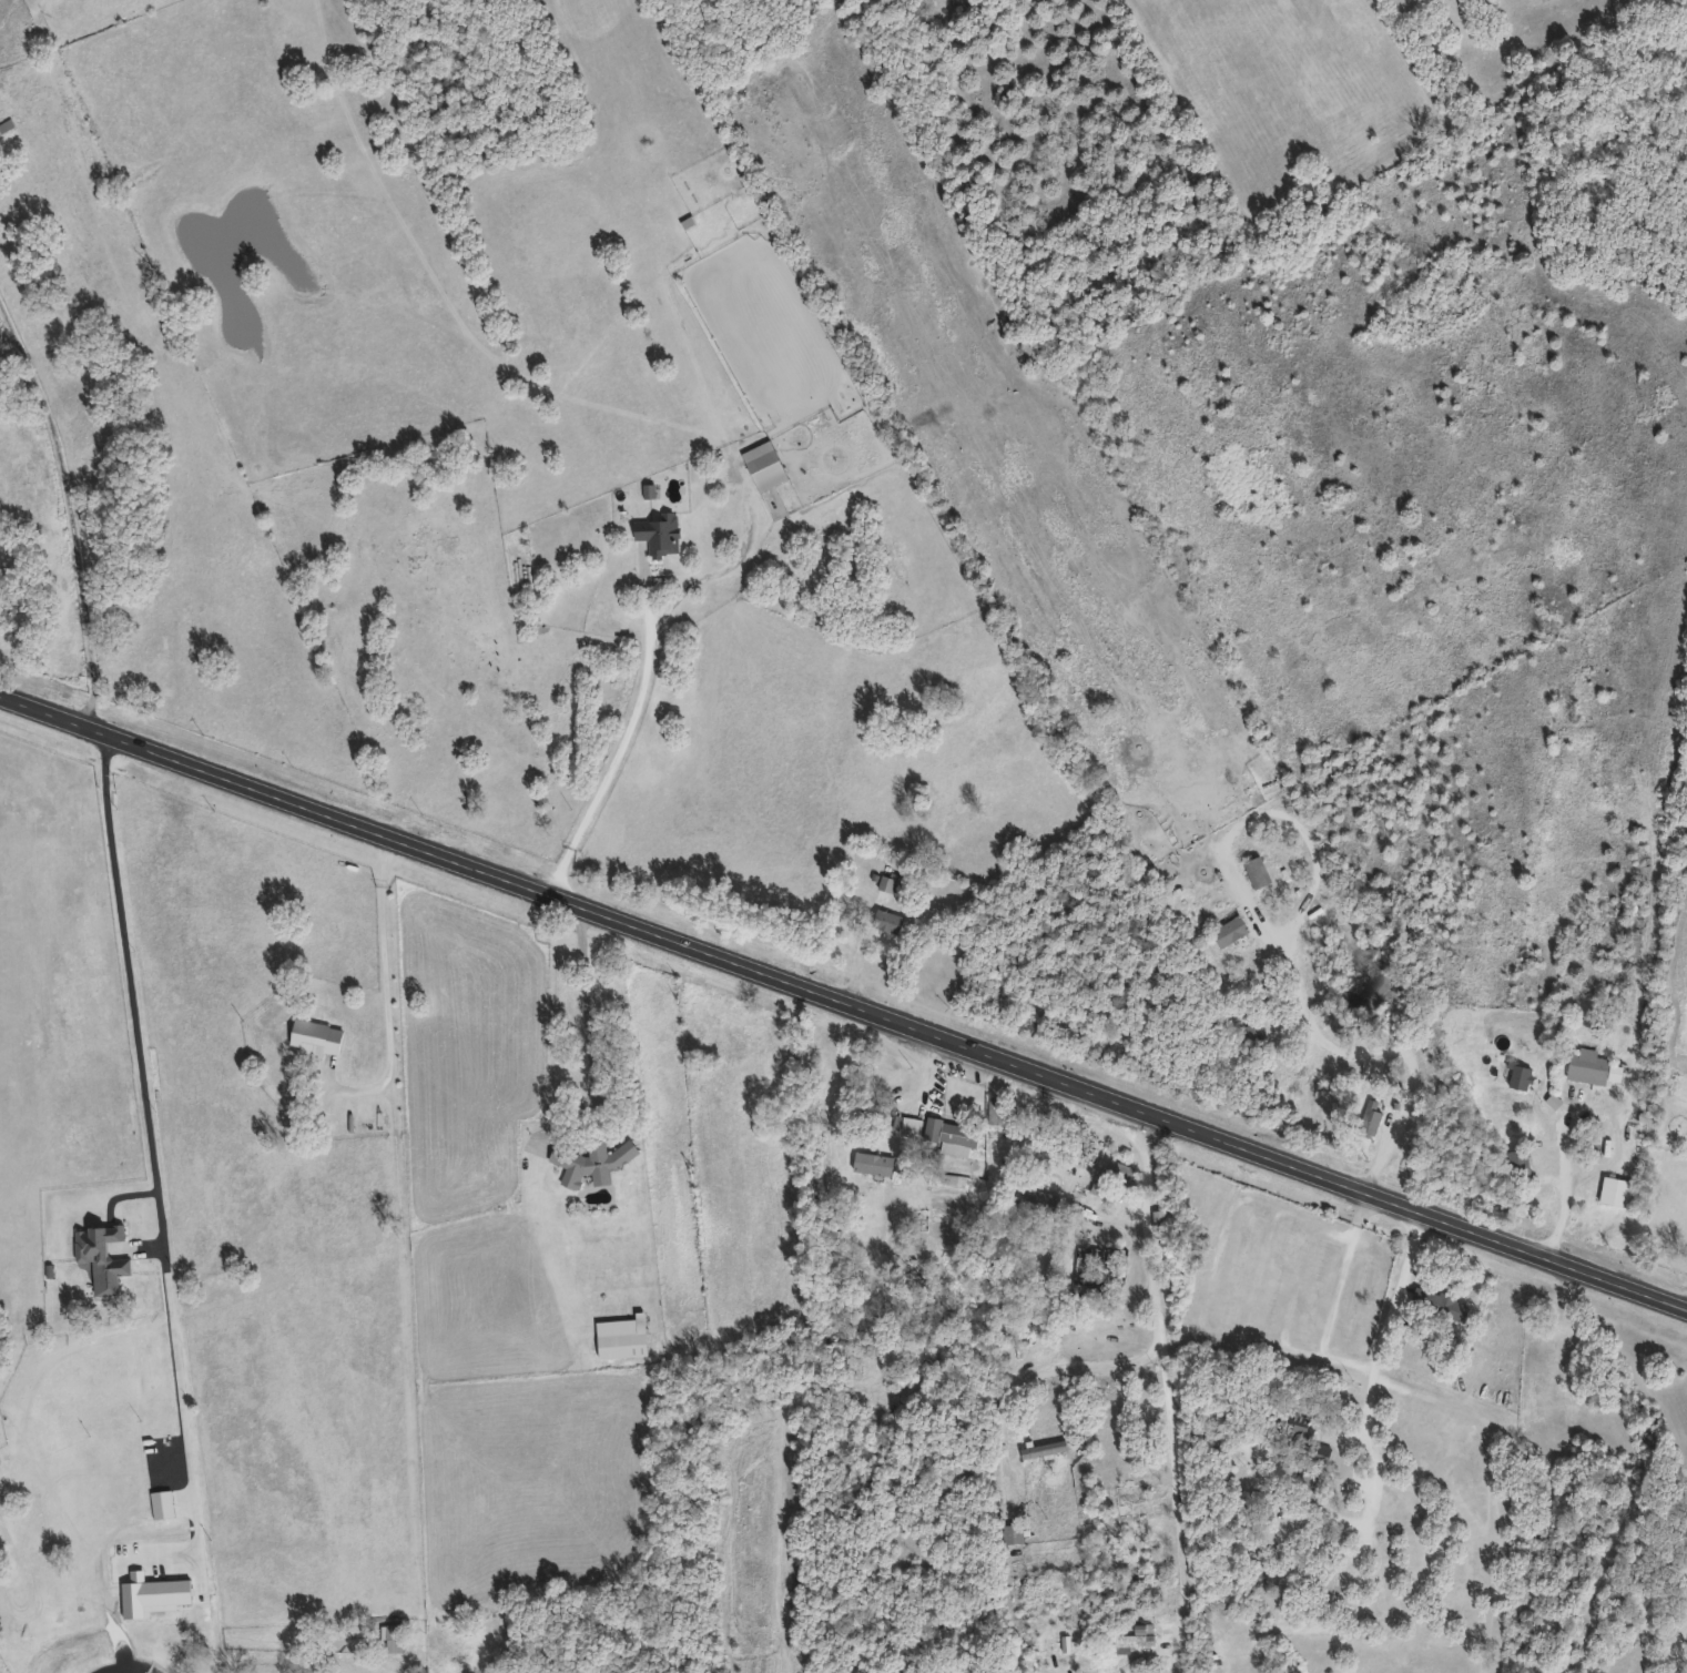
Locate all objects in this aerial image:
building: (765, 464)
road: (68, 510)
building: (660, 533)
road: (623, 741)
building: (1258, 871)
building: (885, 882)
building: (888, 920)
building: (1230, 930)
building: (1634, 943)
road: (1283, 949)
road: (1130, 970)
road: (388, 995)
road: (585, 1001)
road: (844, 1002)
building: (1256, 1031)
building: (316, 1035)
building: (1593, 1066)
building: (1521, 1075)
road: (929, 1077)
building: (997, 1114)
building: (1369, 1122)
building: (959, 1135)
road: (157, 1143)
building: (1520, 1160)
building: (591, 1162)
building: (874, 1163)
building: (1114, 1177)
road: (1565, 1188)
building: (1616, 1190)
building: (1035, 1198)
building: (101, 1250)
road: (1683, 1295)
building: (1440, 1304)
building: (622, 1337)
road: (1375, 1352)
road: (1050, 1371)
road: (1168, 1390)
building: (1290, 1427)
building: (1044, 1449)
building: (1322, 1451)
building: (1309, 1489)
building: (1131, 1497)
building: (1013, 1533)
building: (394, 1636)
building: (1135, 1639)

